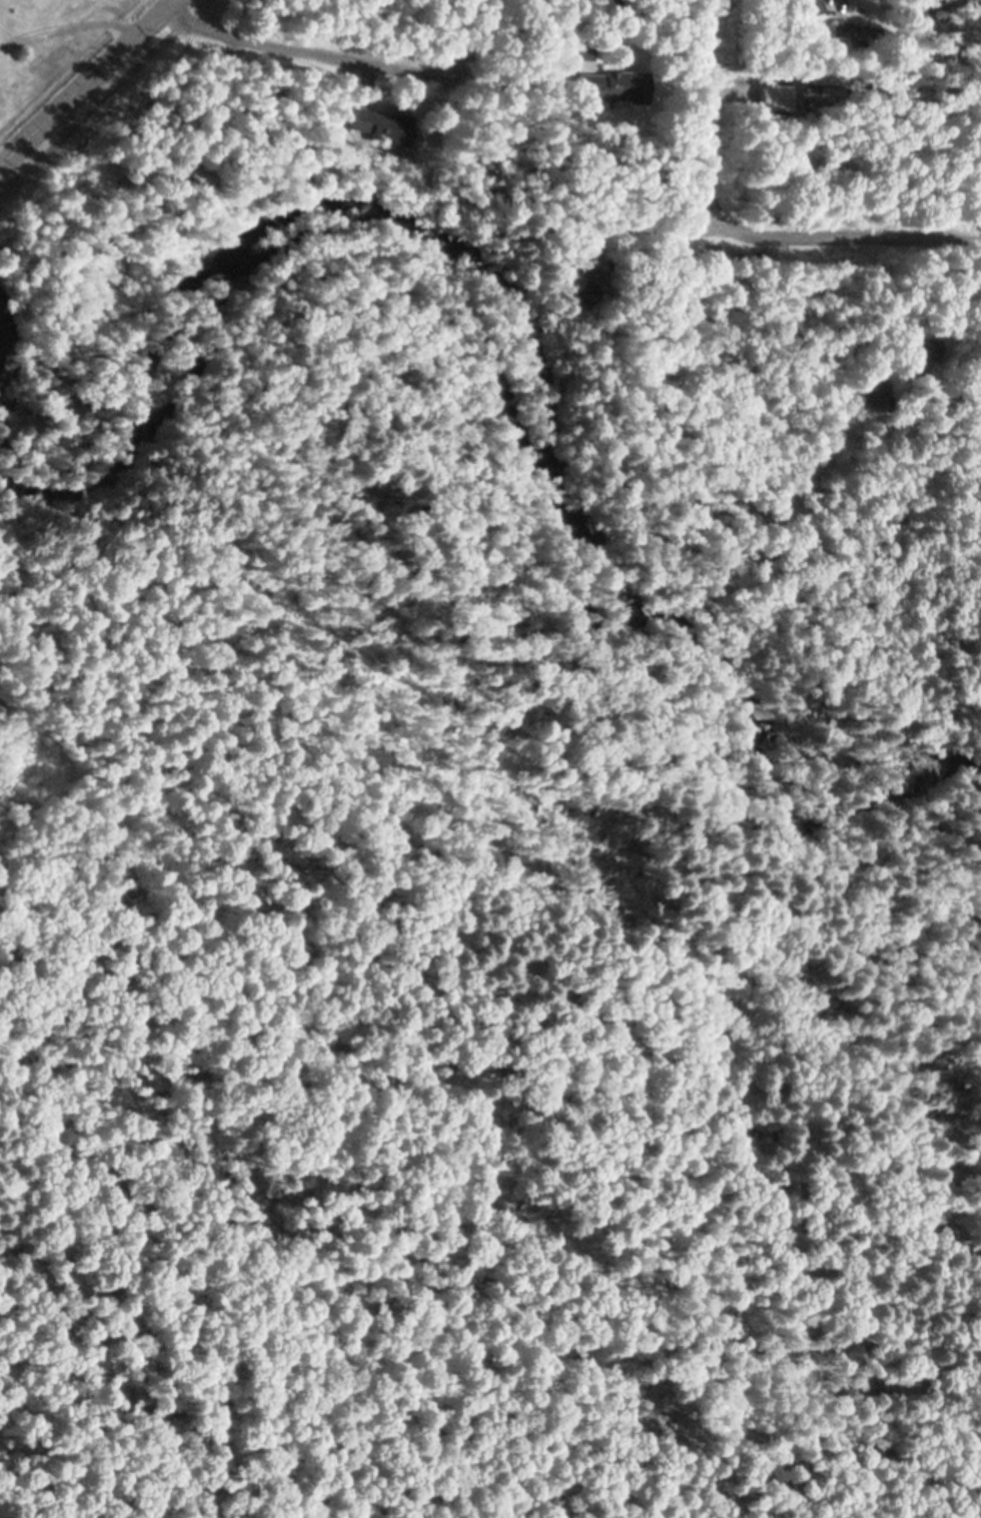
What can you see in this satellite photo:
building: (808, 6)
building: (850, 30)
road: (298, 51)
road: (83, 79)
building: (609, 88)
building: (542, 96)
building: (773, 97)
building: (379, 126)
building: (198, 178)
road: (737, 230)
building: (589, 273)
building: (578, 298)
building: (881, 329)
building: (921, 348)
river: (538, 366)
building: (866, 391)

